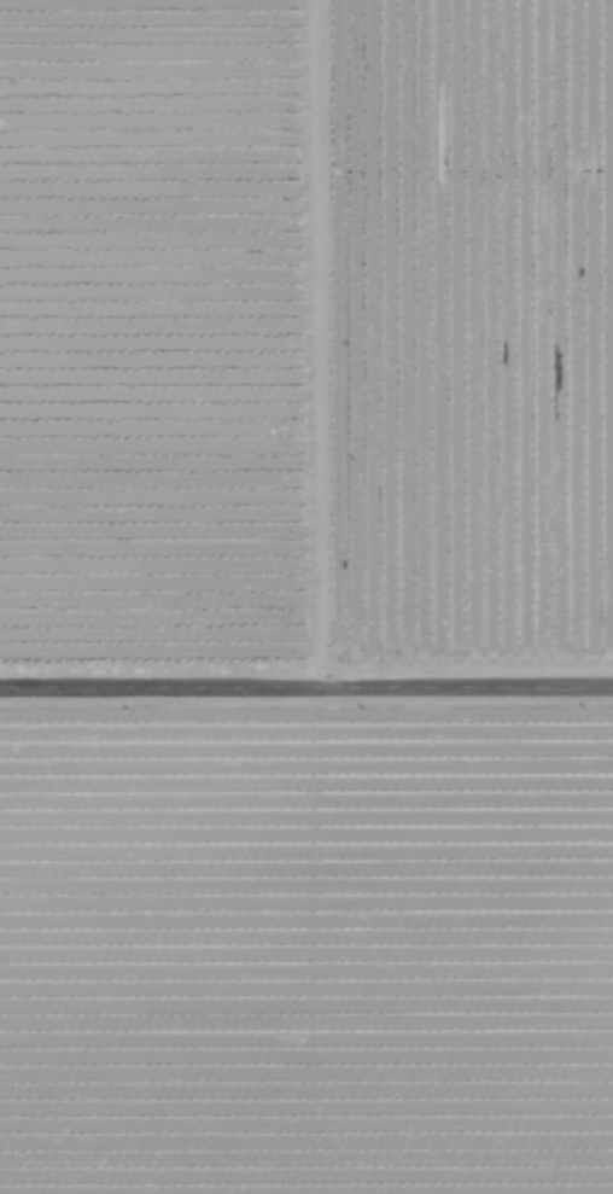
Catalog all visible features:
road: (305, 692)

